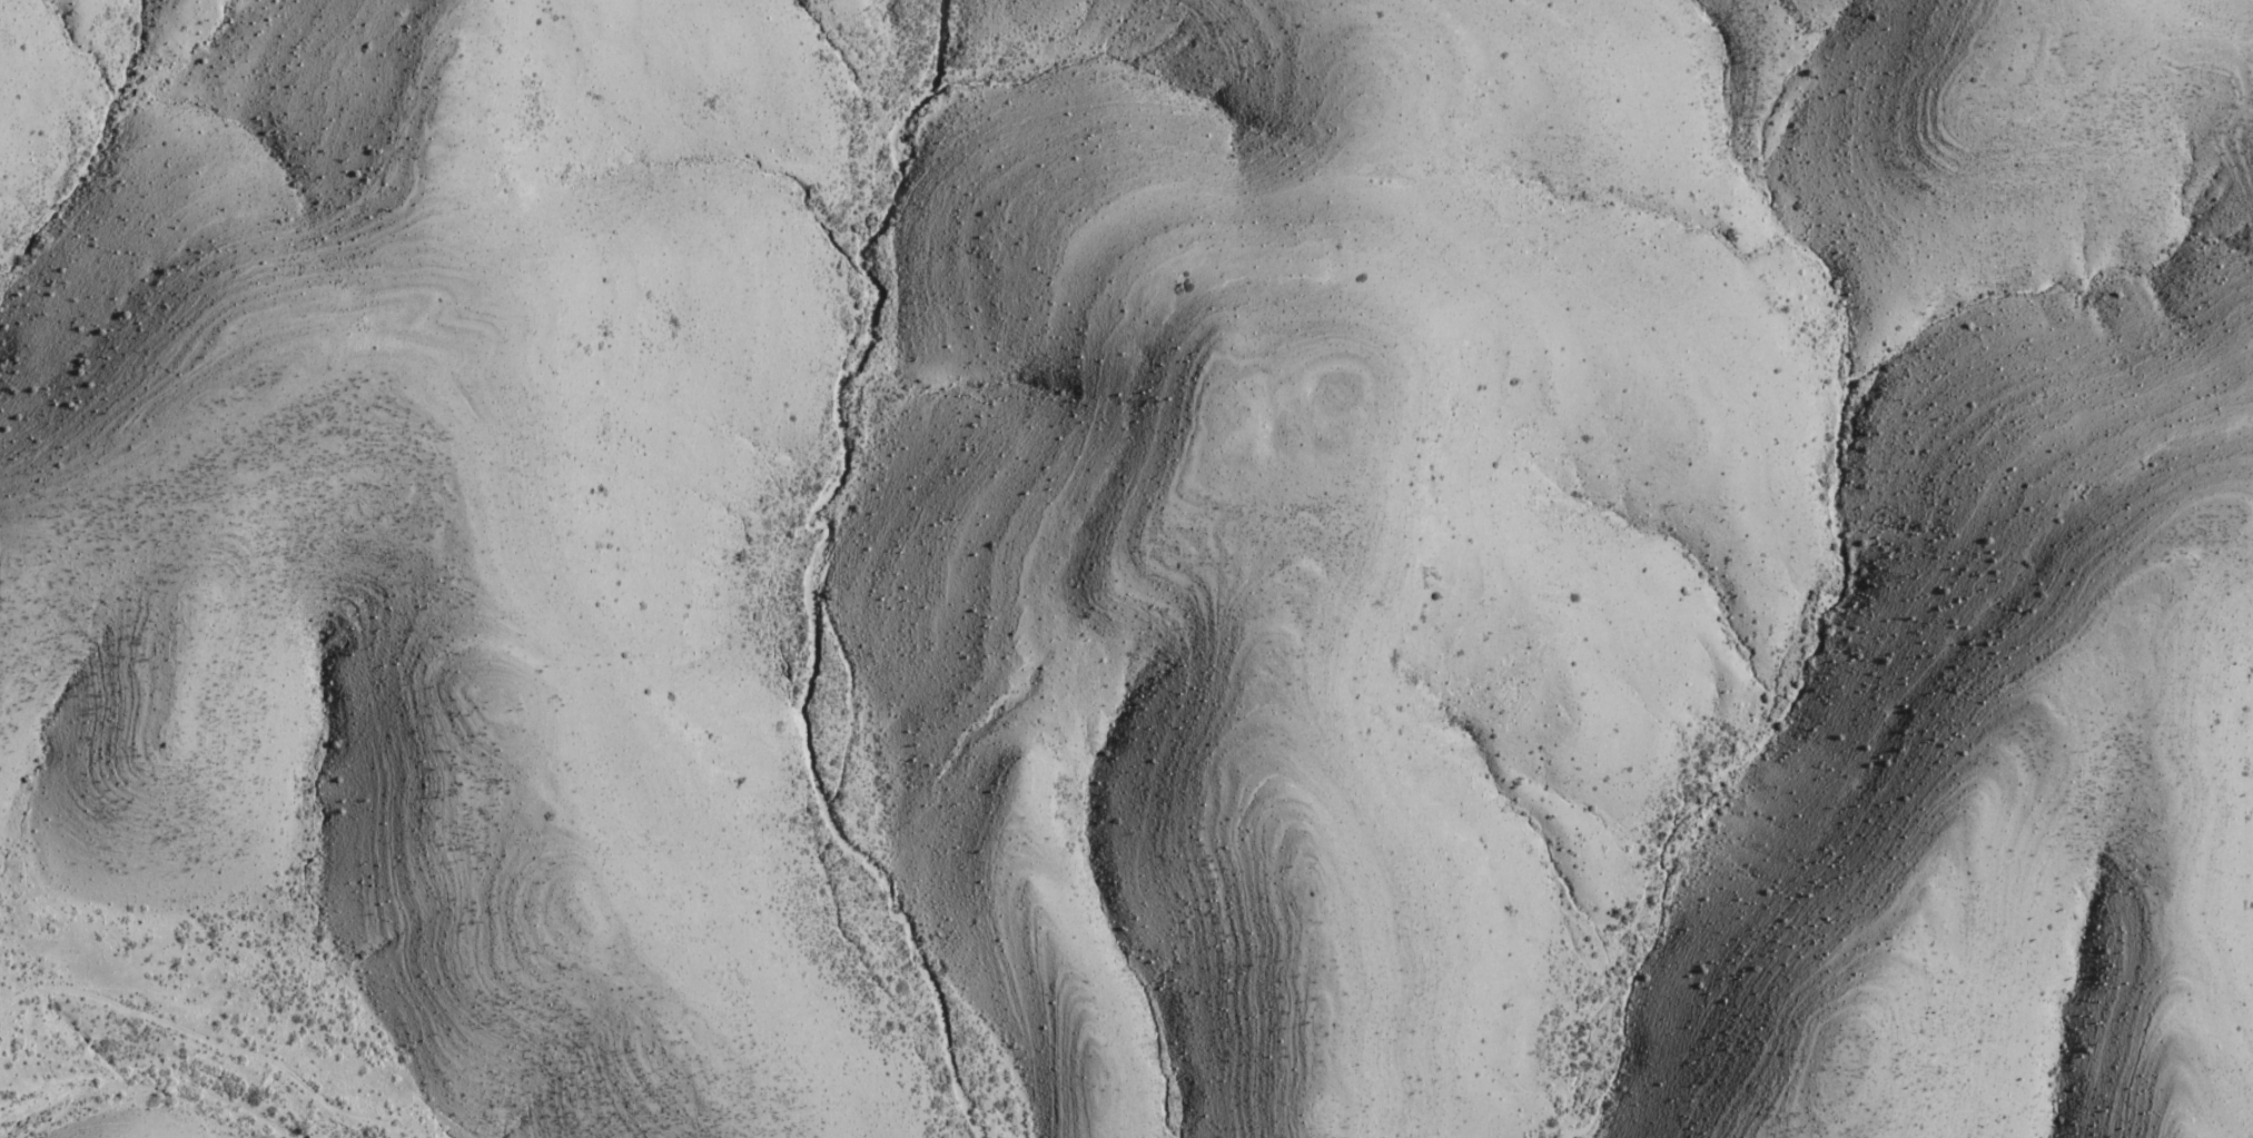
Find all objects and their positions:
road: (226, 1047)

